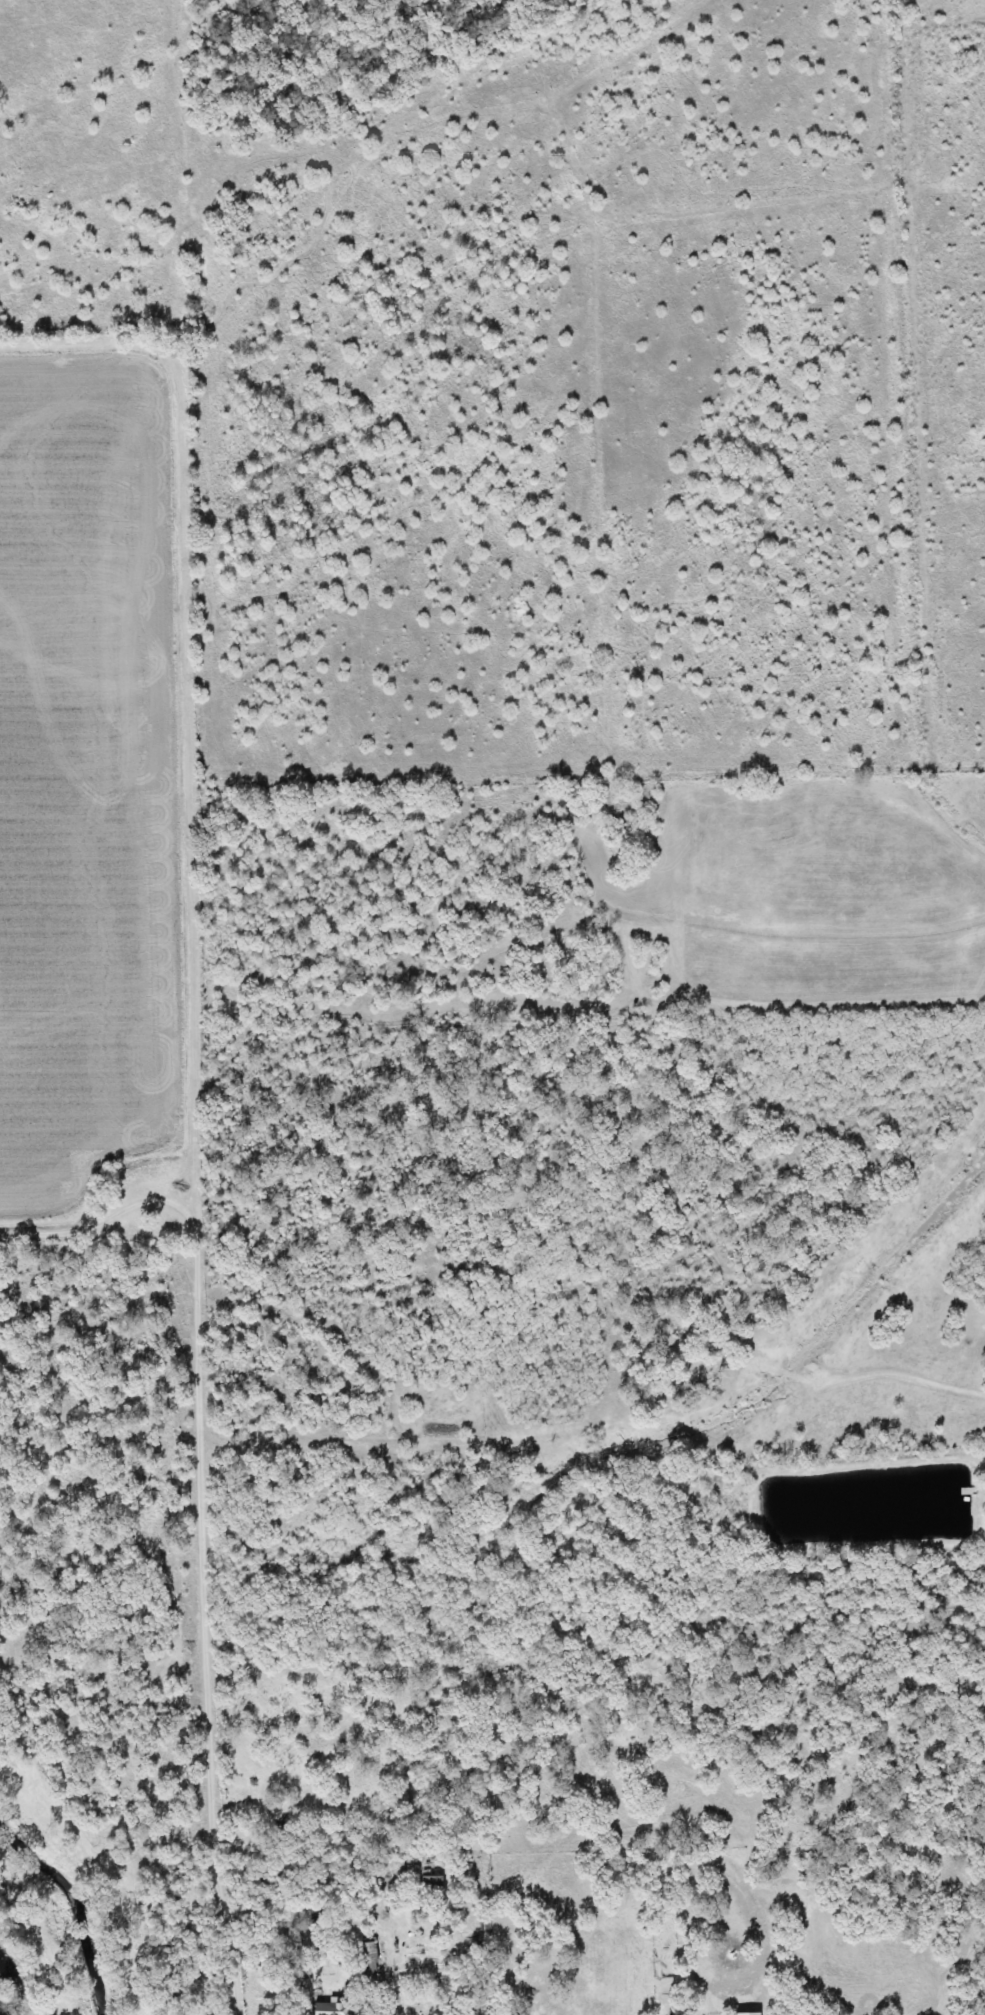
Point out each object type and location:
road: (935, 1382)
road: (978, 1536)
building: (427, 1885)
building: (364, 1958)
building: (328, 2008)
building: (743, 2014)

